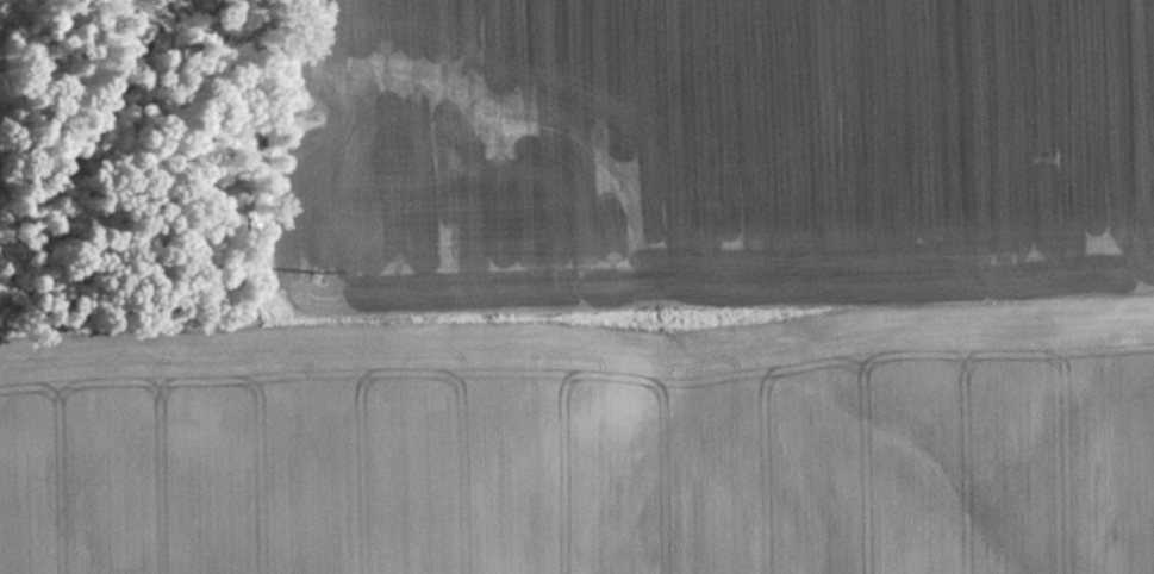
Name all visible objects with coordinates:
power tower: (319, 275)

